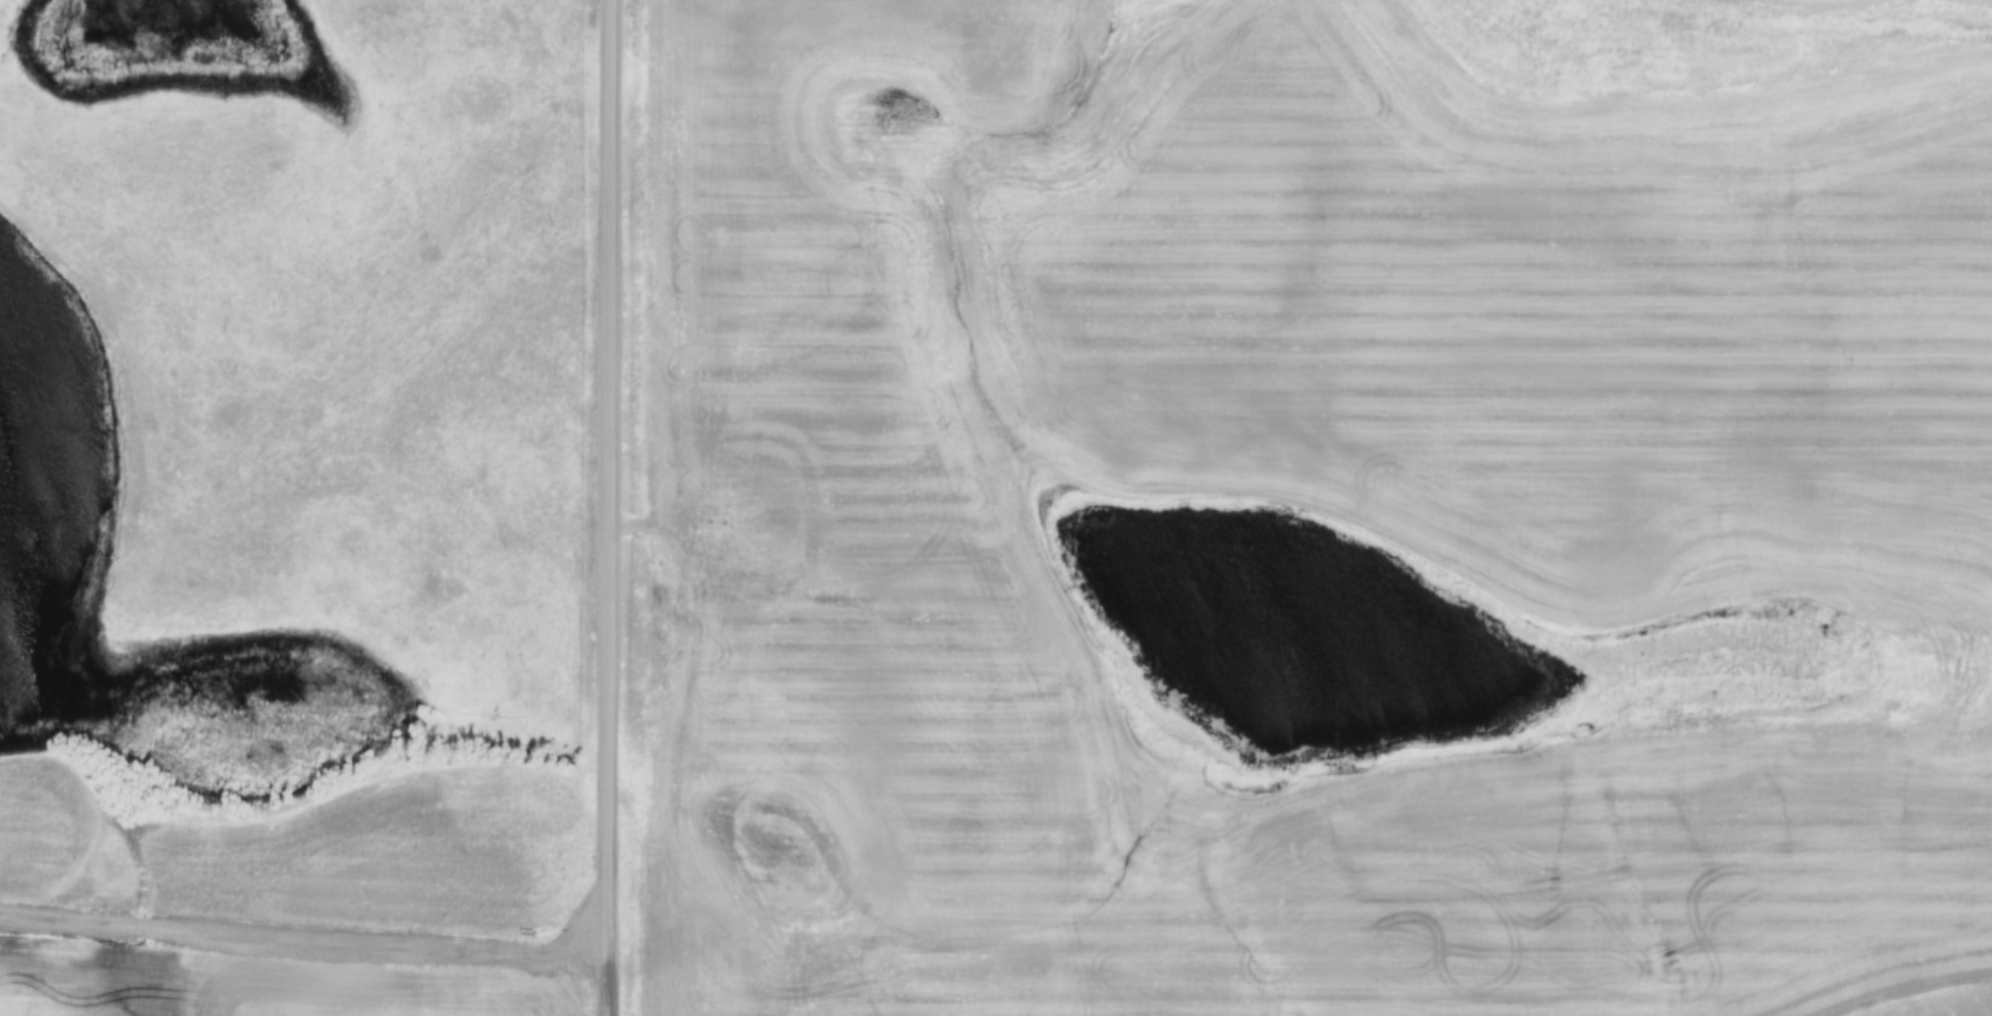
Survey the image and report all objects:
road: (610, 507)
road: (304, 937)

